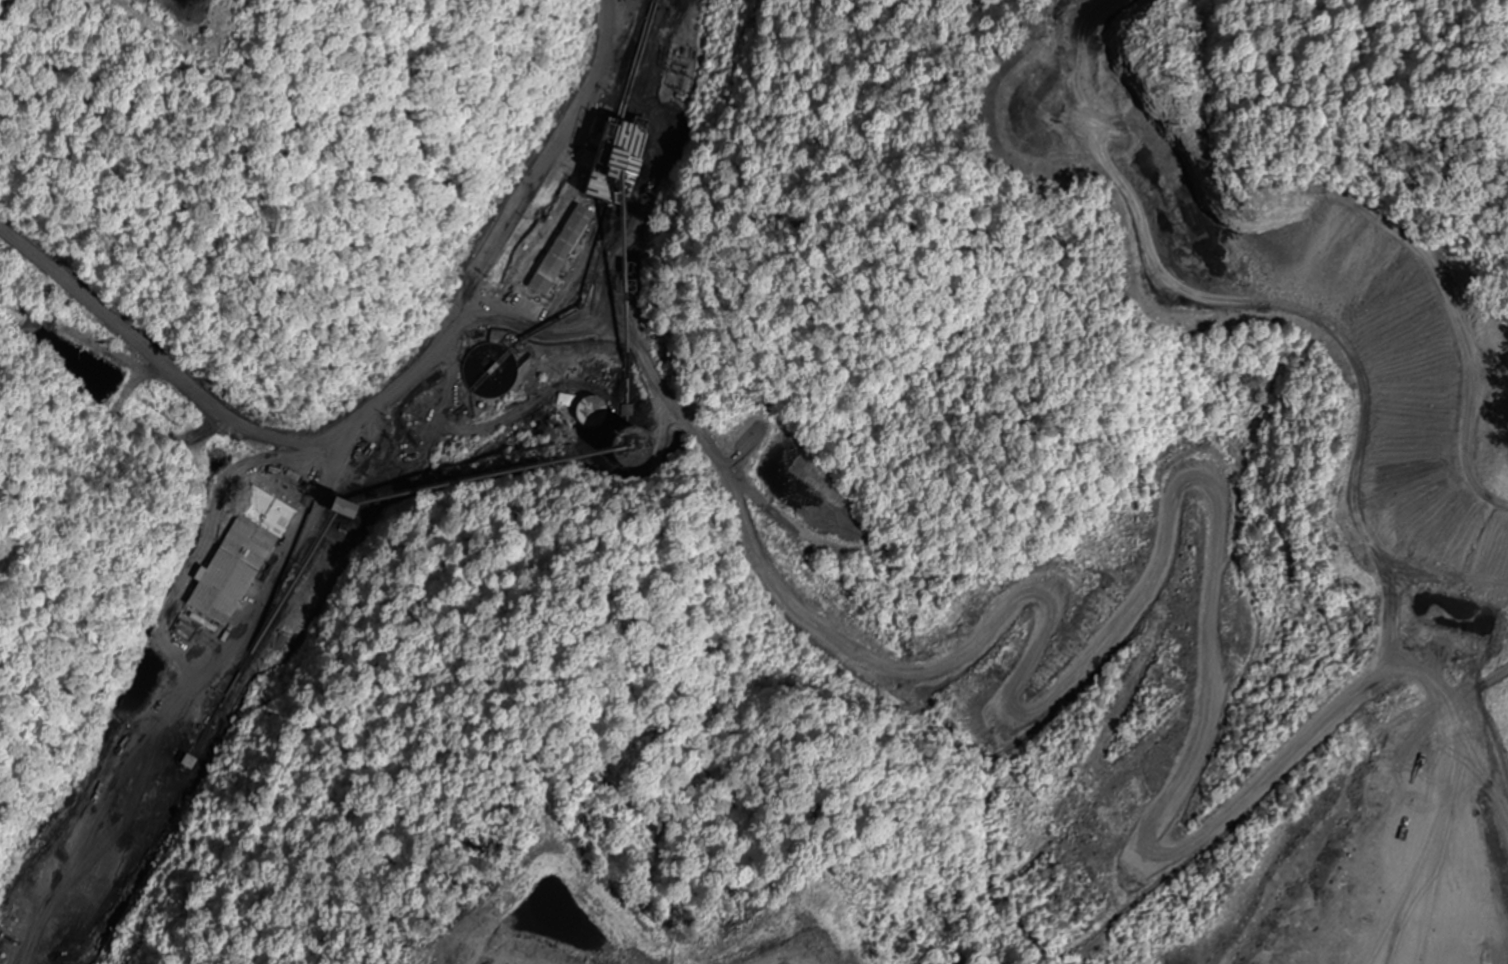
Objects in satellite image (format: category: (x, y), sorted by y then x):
road: (551, 303)
quarry: (406, 429)
building: (364, 442)
building: (243, 558)
building: (1425, 658)
building: (7, 956)

